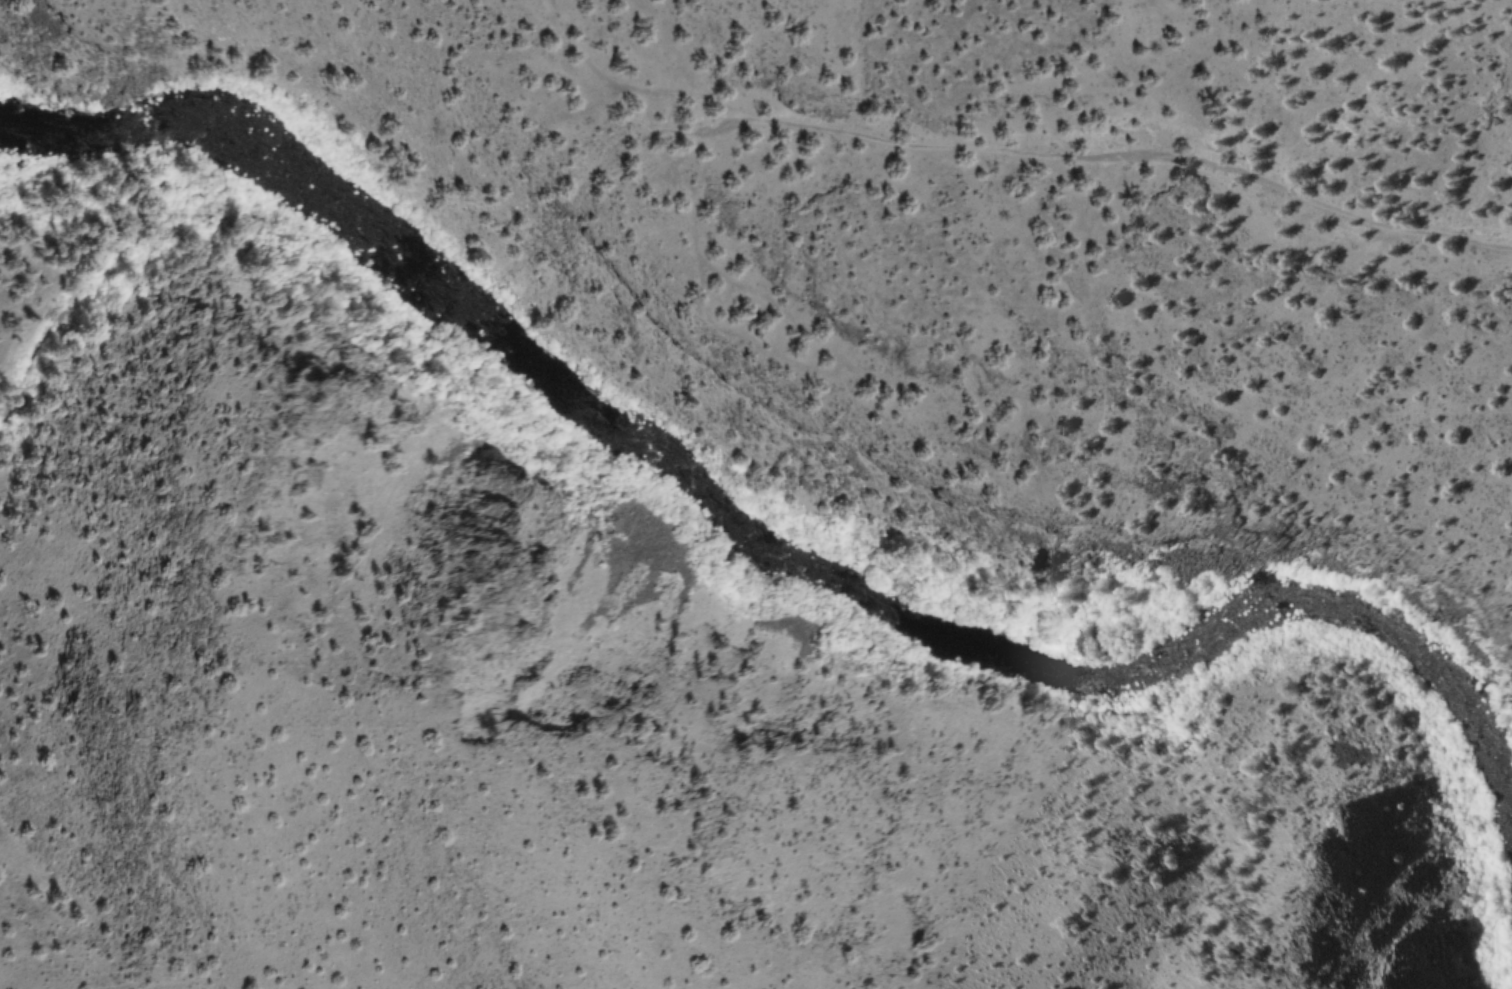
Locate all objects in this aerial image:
road: (1011, 152)
river: (837, 573)

